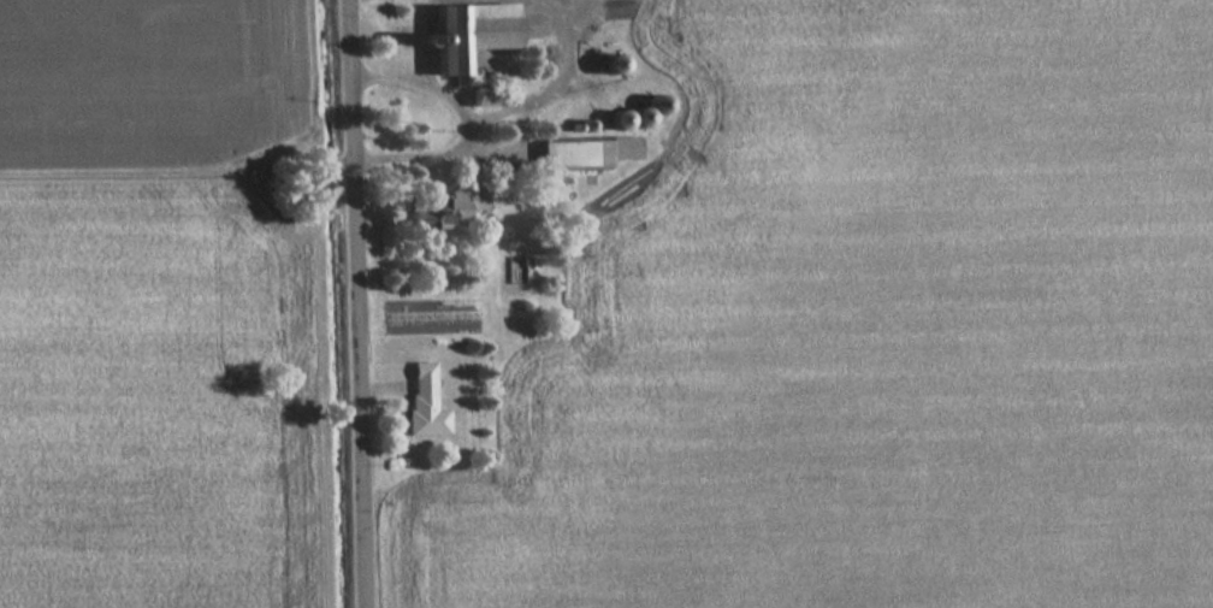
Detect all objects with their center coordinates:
building: (474, 34)
building: (585, 153)
building: (462, 200)
crop: (150, 303)
road: (359, 303)
crop: (865, 326)
building: (422, 402)

